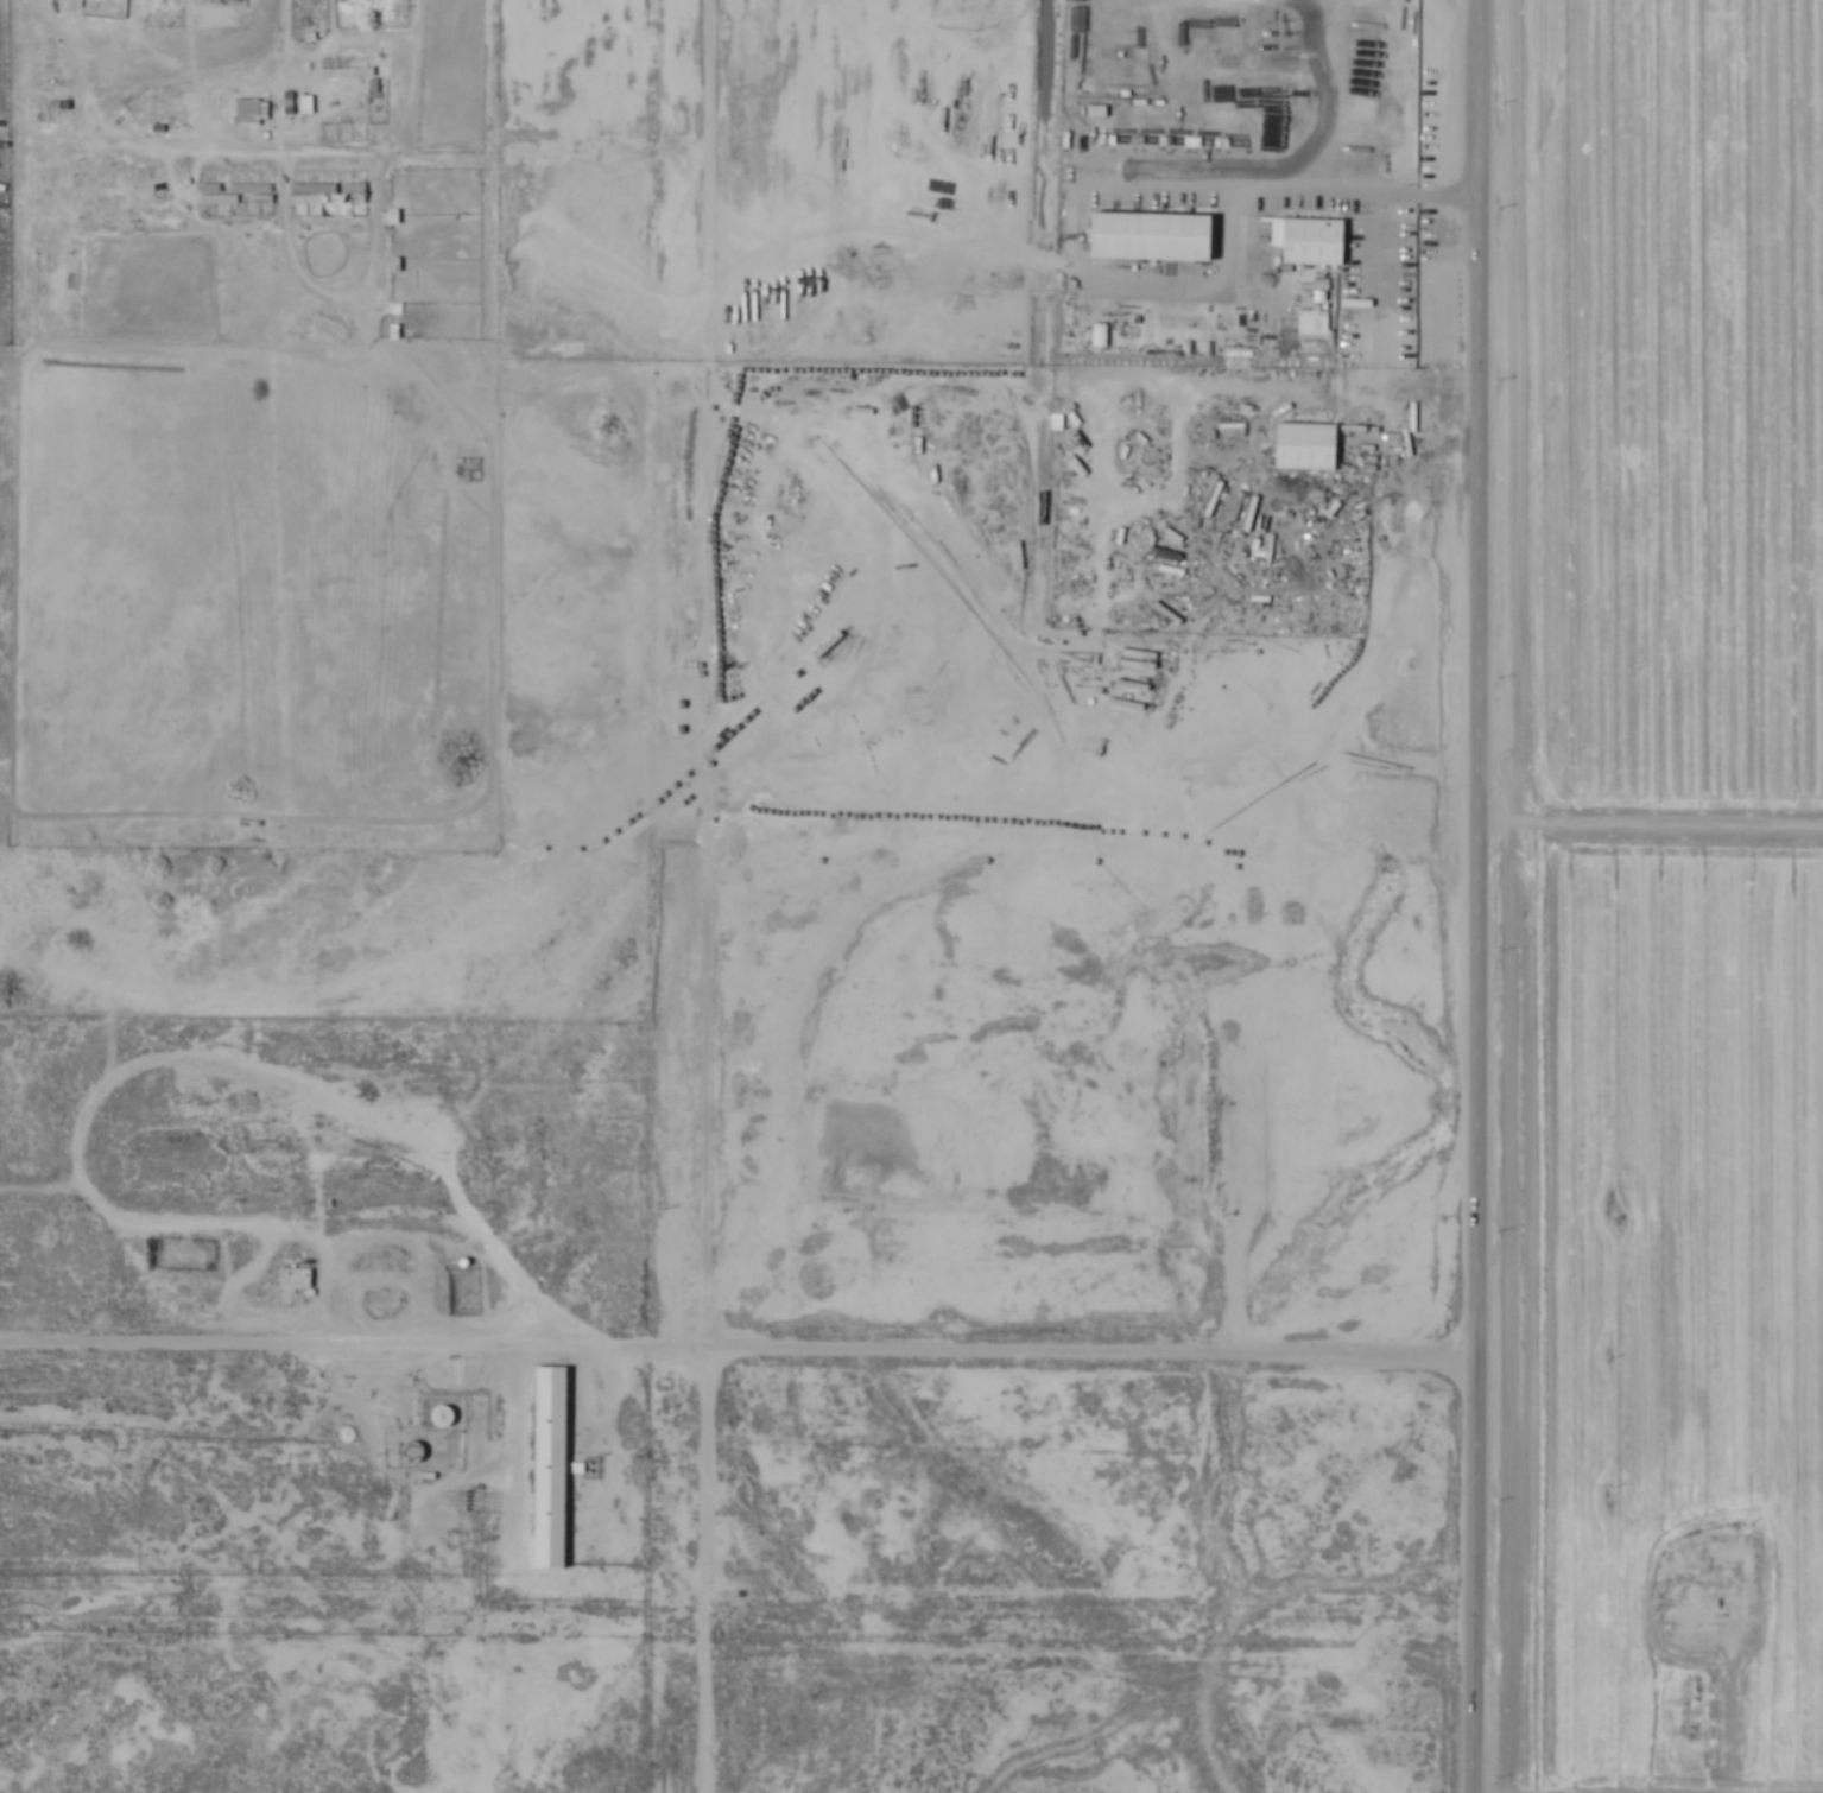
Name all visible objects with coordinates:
road: (162, 51)
building: (343, 72)
building: (247, 110)
building: (342, 127)
building: (62, 144)
road: (1107, 190)
road: (1234, 191)
building: (235, 194)
building: (328, 194)
building: (1312, 242)
building: (57, 283)
building: (1305, 448)
building: (1297, 486)
road: (1653, 825)
crop: (1642, 892)
road: (709, 895)
road: (1483, 896)
building: (295, 1279)
road: (738, 1355)
building: (550, 1468)

